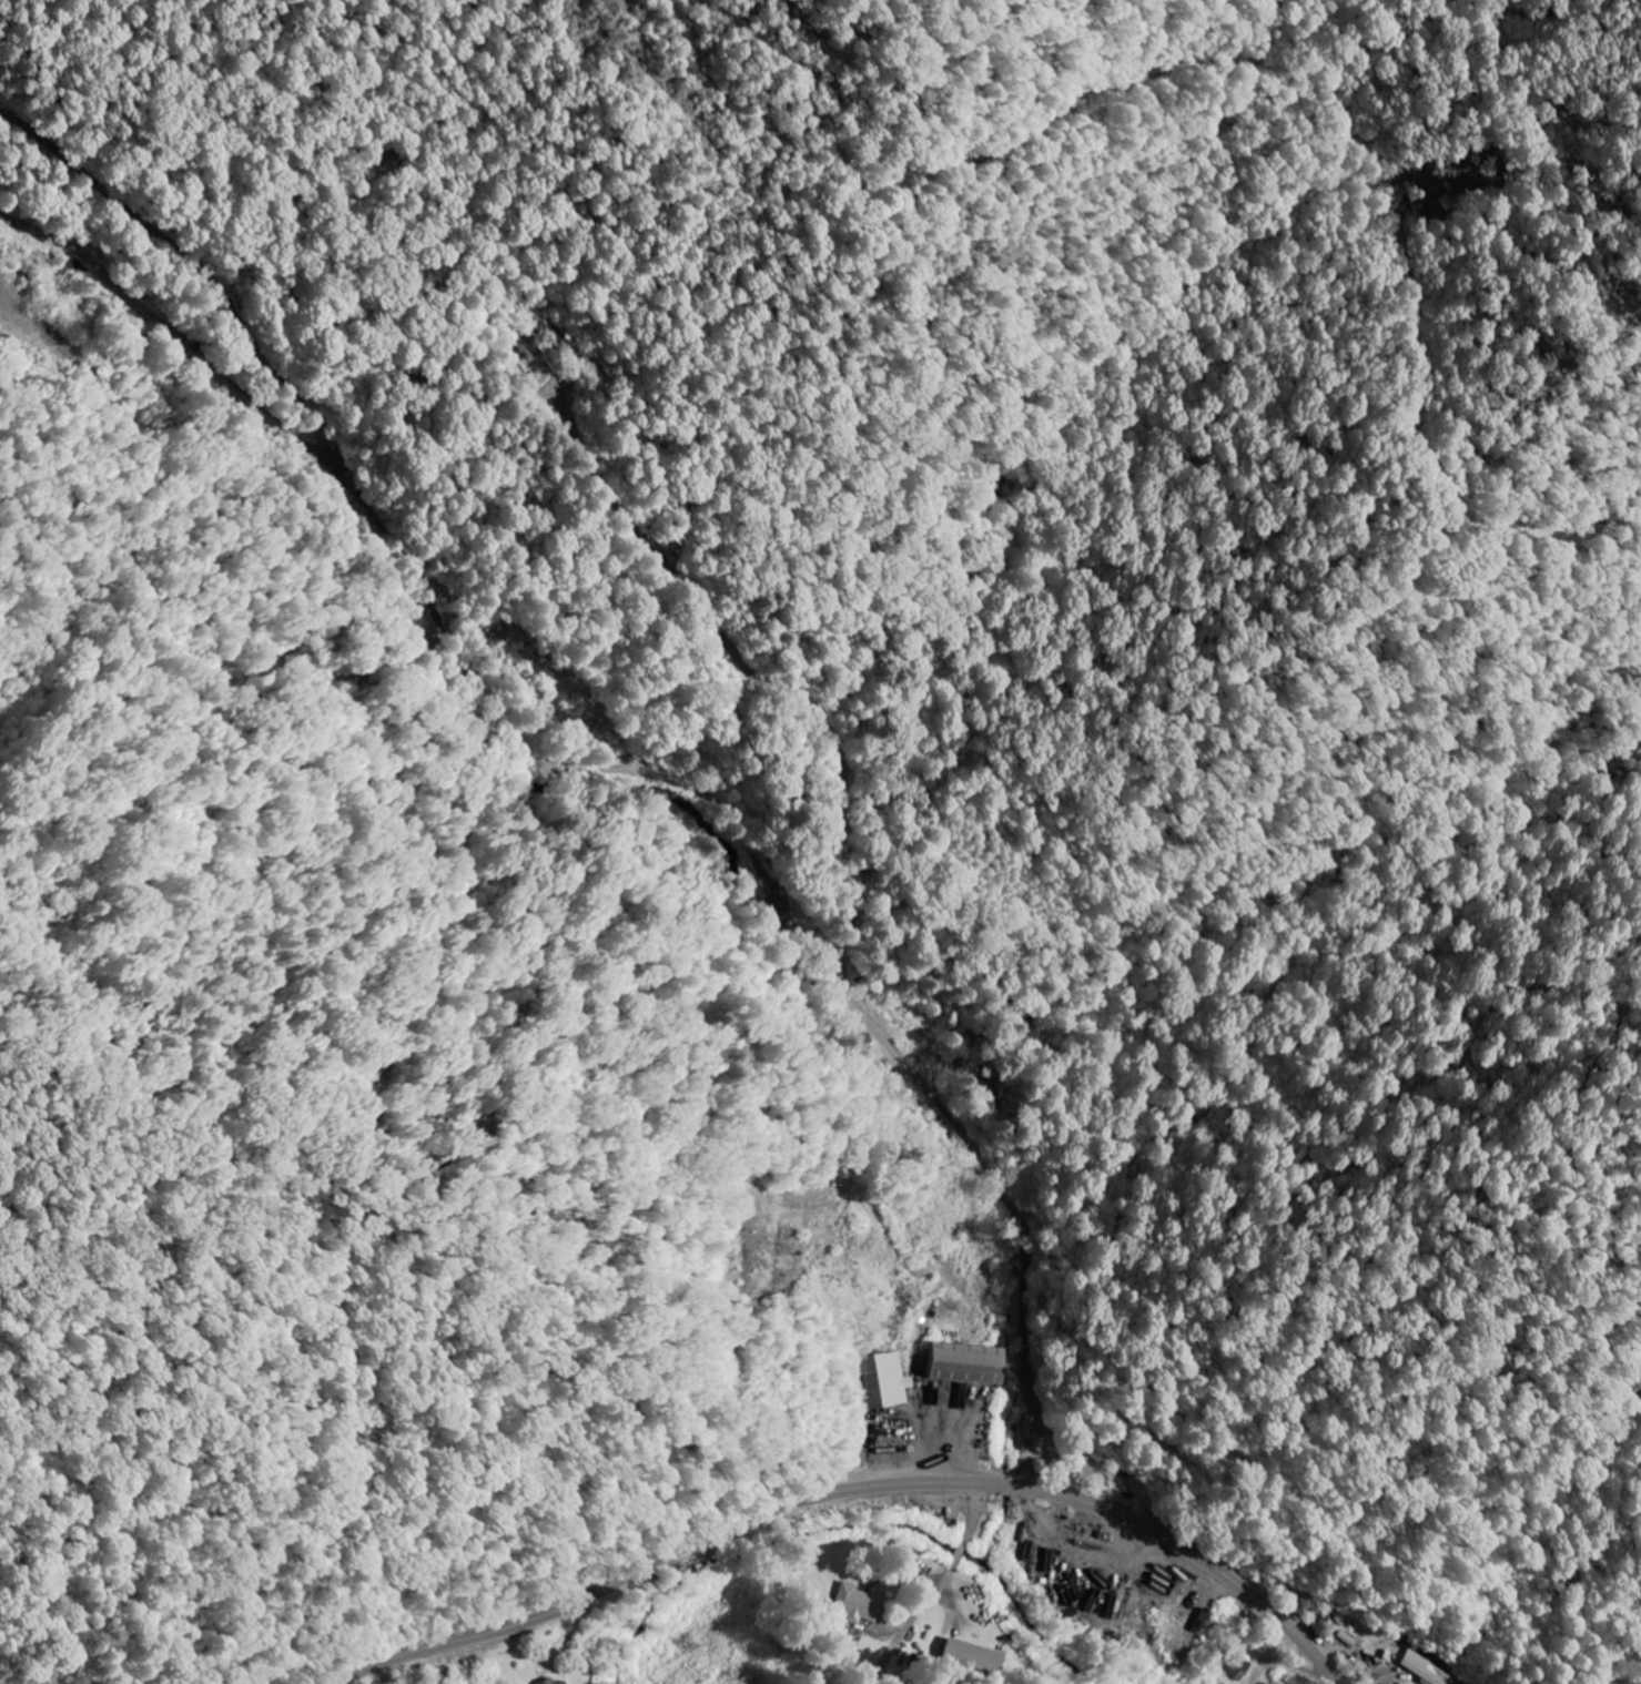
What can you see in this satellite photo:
road: (392, 537)
road: (832, 978)
building: (883, 1381)
road: (849, 1490)
road: (954, 1563)
building: (858, 1605)
building: (971, 1657)
building: (1425, 1670)
building: (561, 1682)

